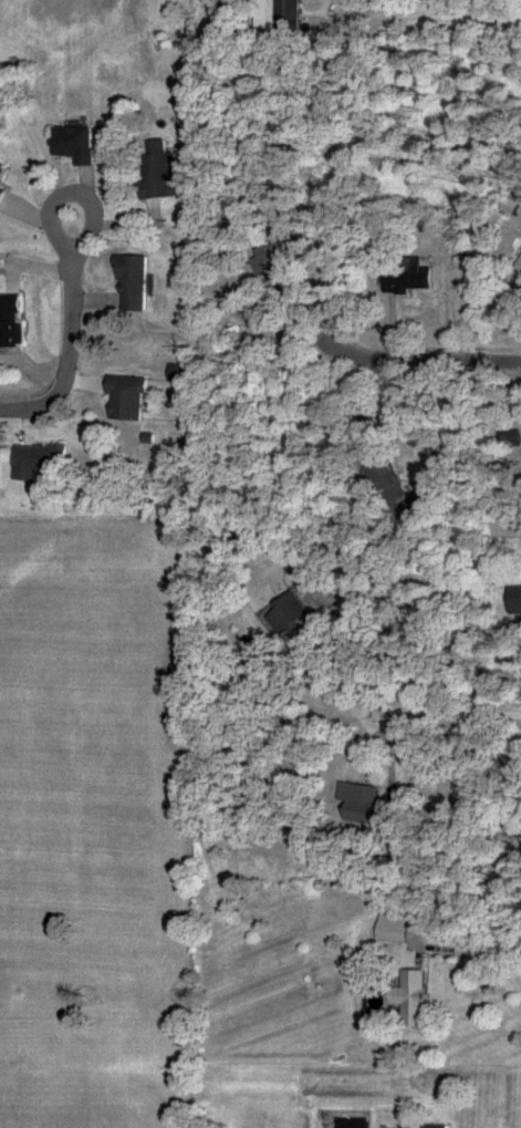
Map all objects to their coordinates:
building: (345, 1)
building: (294, 15)
road: (435, 21)
building: (75, 145)
building: (2, 168)
building: (160, 176)
building: (2, 197)
building: (519, 275)
building: (415, 279)
building: (131, 283)
building: (12, 320)
road: (61, 335)
road: (431, 362)
building: (127, 396)
building: (40, 460)
building: (515, 600)
building: (291, 614)
road: (395, 706)
building: (361, 793)
building: (376, 815)
building: (393, 928)
road: (475, 949)
building: (413, 998)
road: (360, 1067)
building: (428, 1126)

